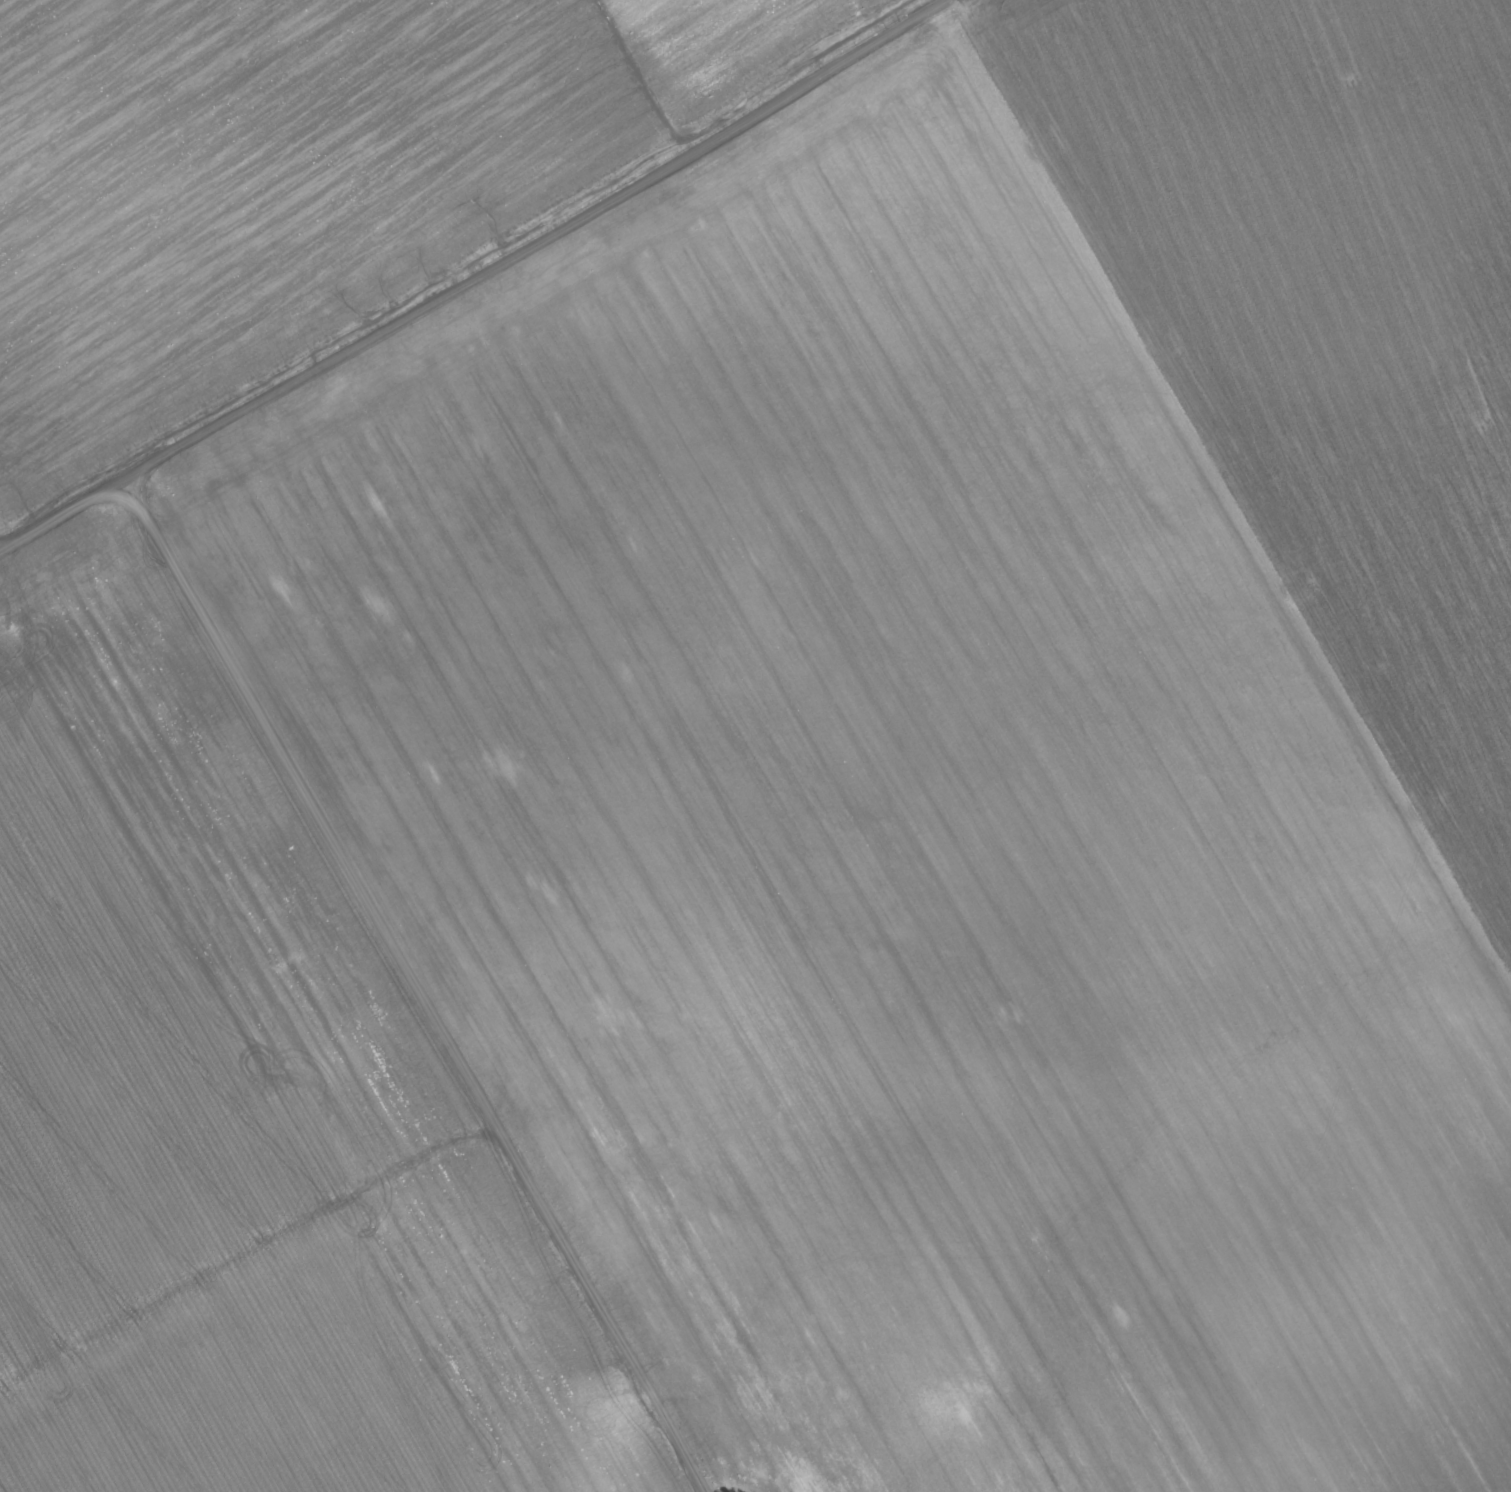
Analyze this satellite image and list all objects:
road: (514, 233)
road: (1234, 485)
road: (58, 498)
road: (414, 977)

